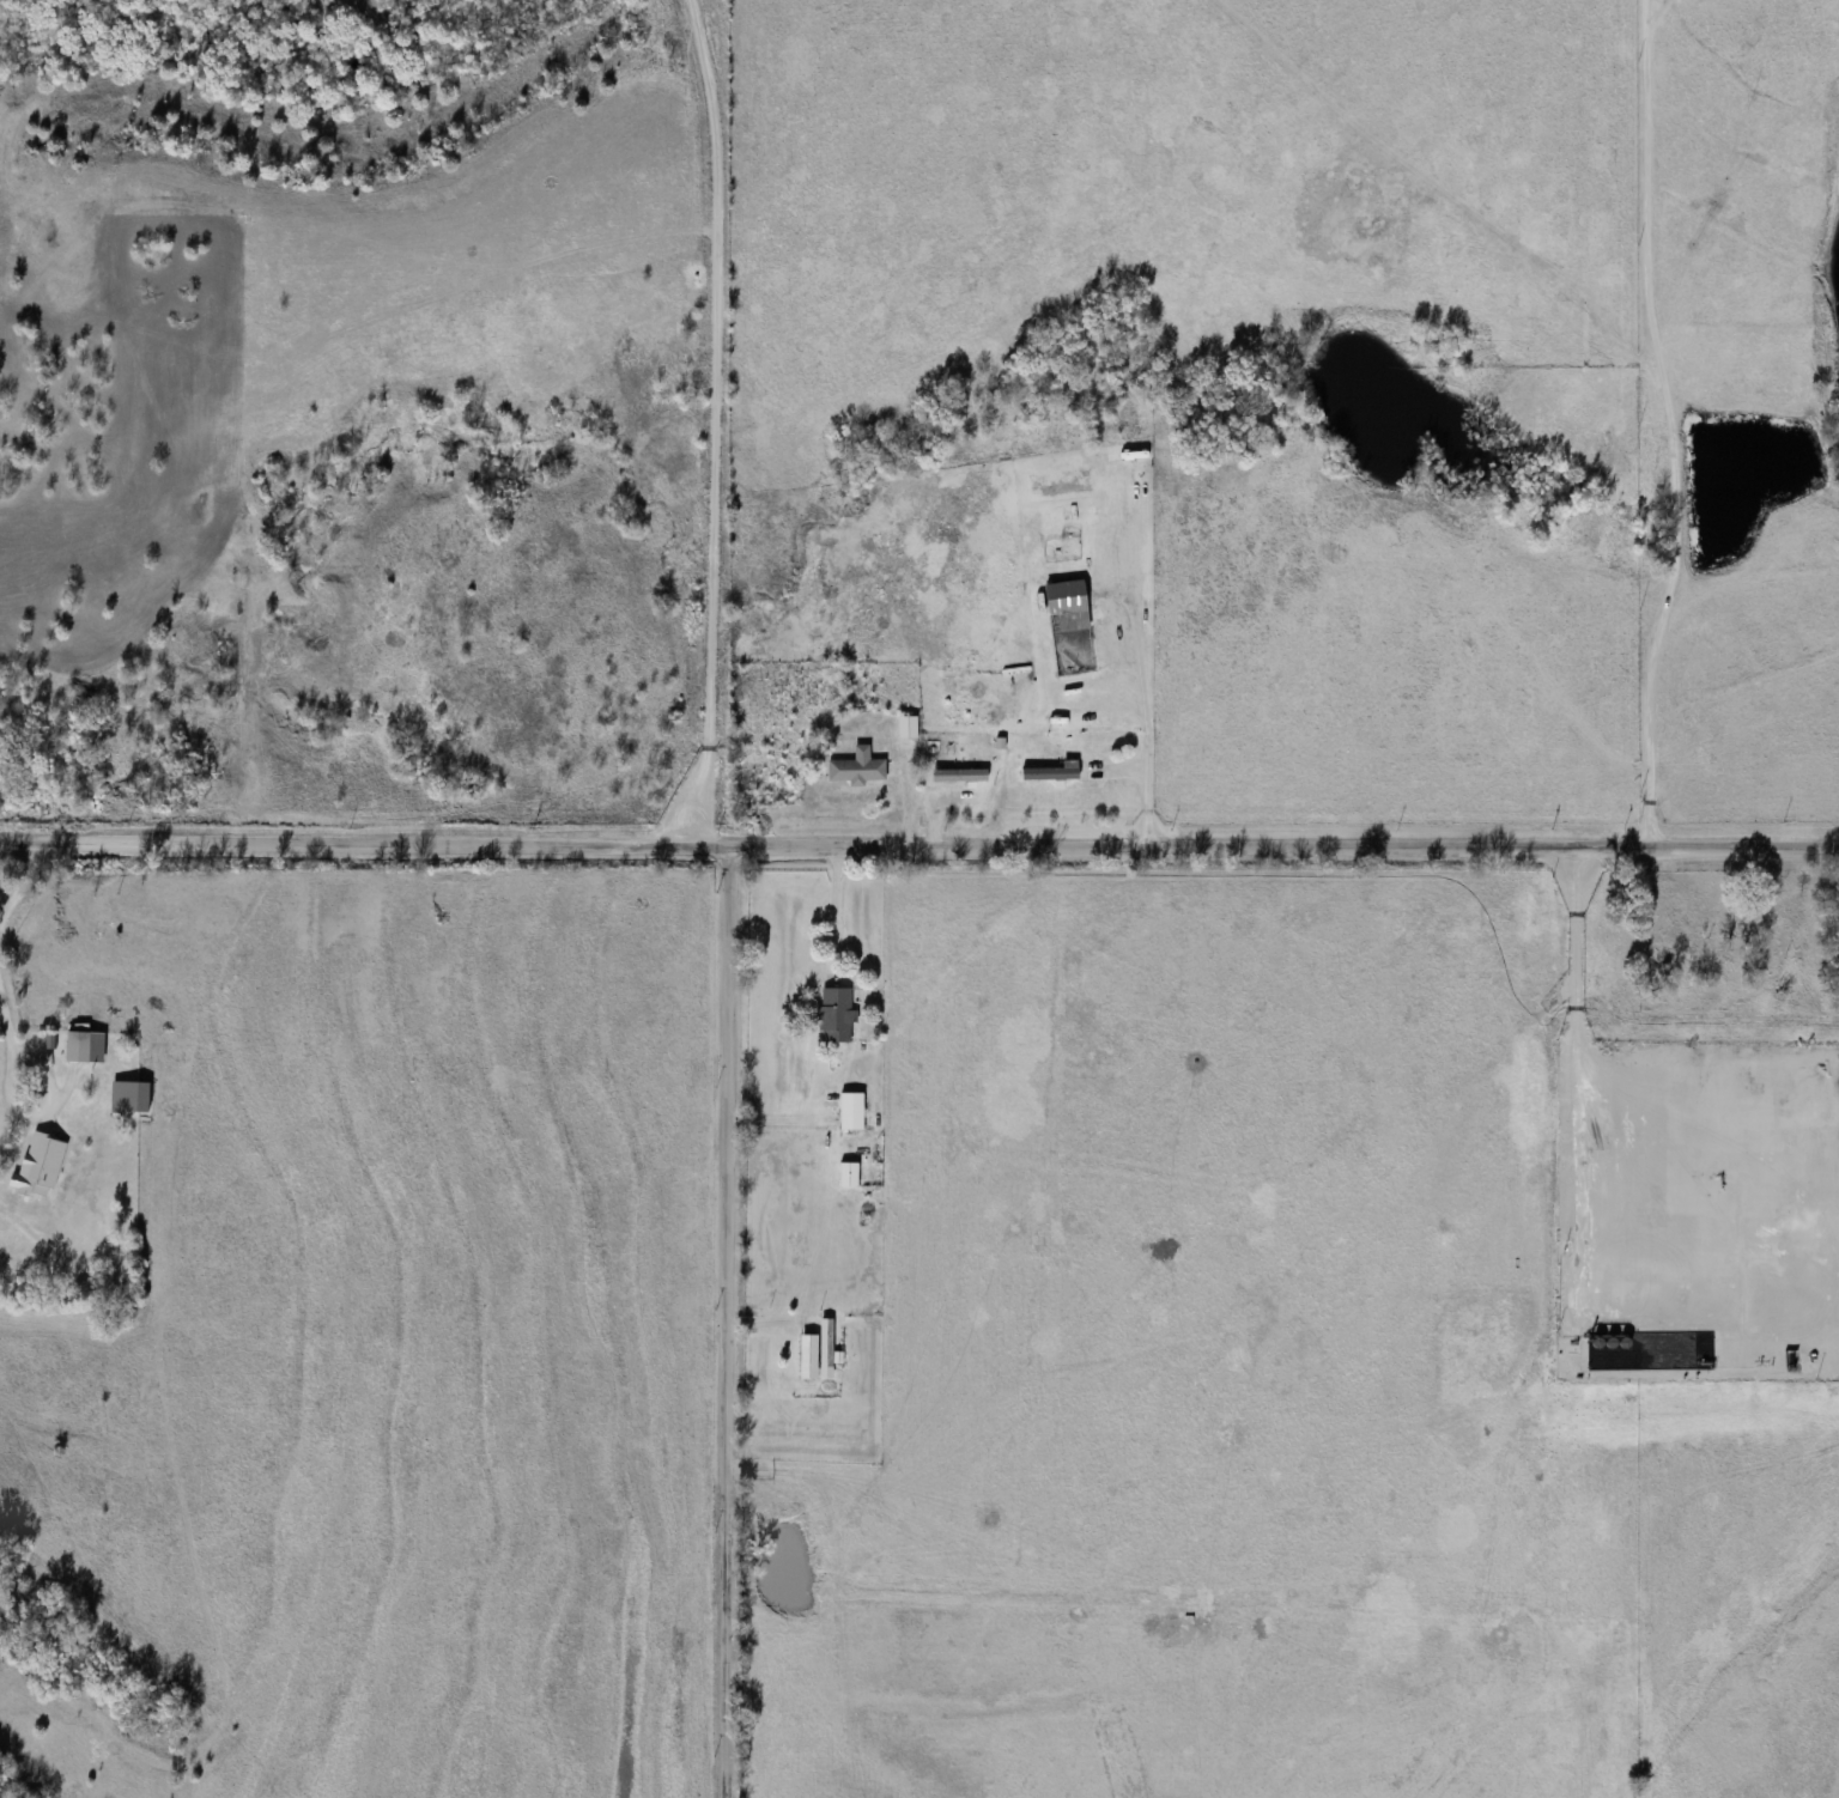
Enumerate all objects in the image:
road: (1674, 426)
building: (1067, 606)
building: (908, 727)
road: (1146, 735)
building: (857, 771)
building: (1050, 773)
building: (959, 775)
road: (918, 849)
road: (837, 915)
road: (2, 946)
building: (836, 1016)
building: (85, 1047)
road: (53, 1087)
building: (851, 1112)
building: (40, 1166)
building: (849, 1174)
road: (733, 1323)
building: (809, 1356)

